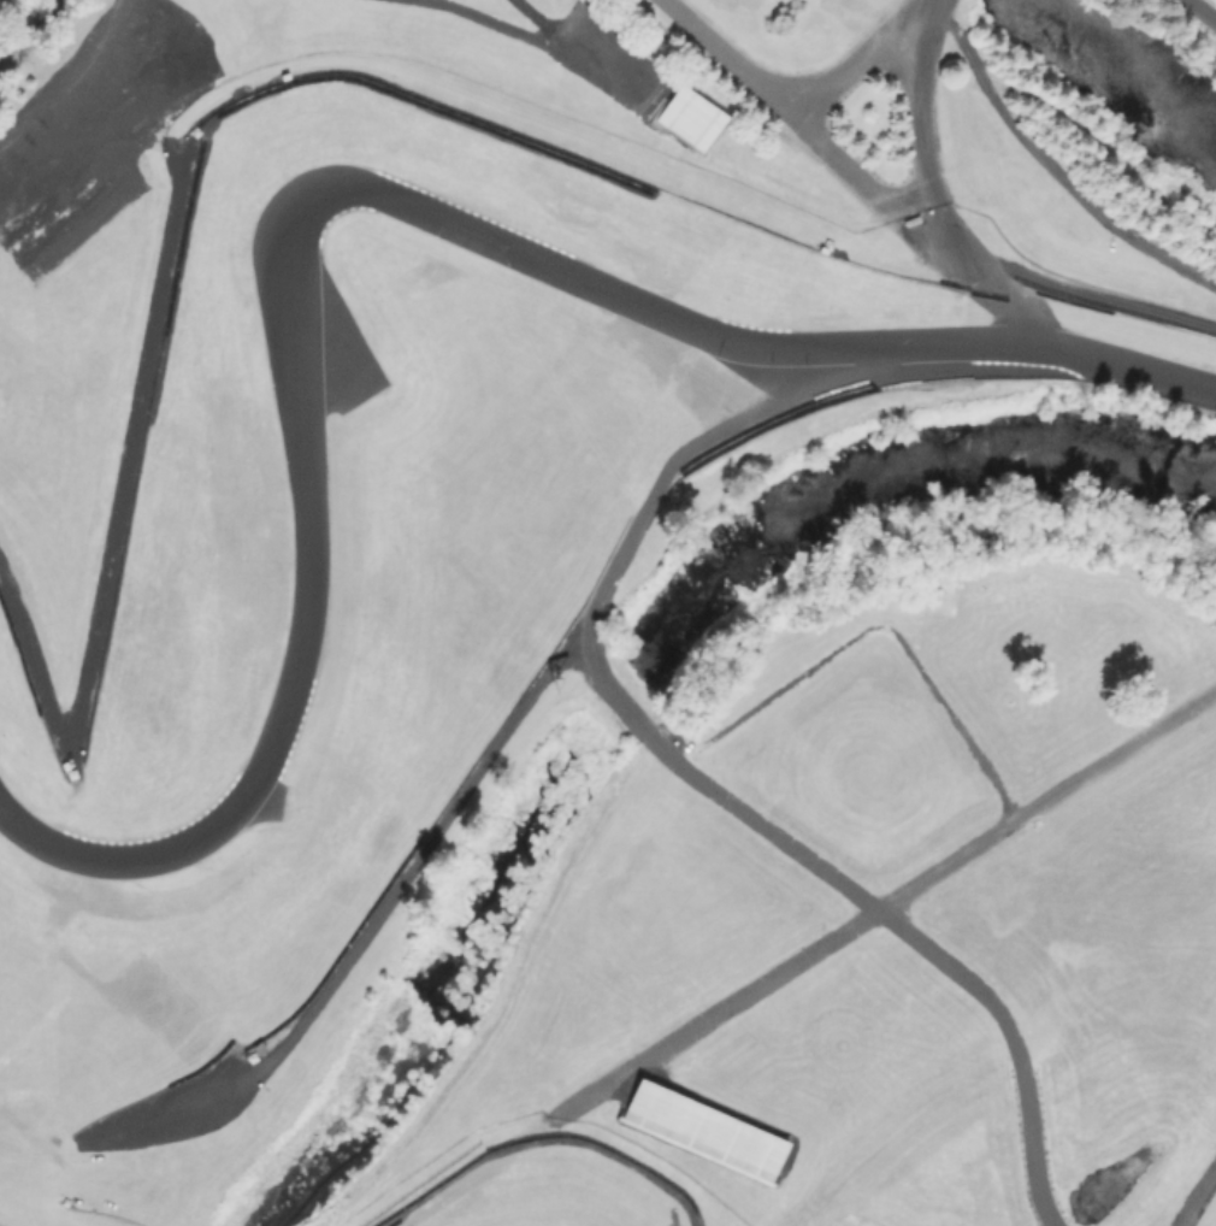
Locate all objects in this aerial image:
road: (1200, 11)
park: (1199, 12)
road: (29, 29)
road: (728, 58)
road: (855, 58)
building: (690, 116)
road: (922, 130)
road: (1050, 169)
raceway: (348, 195)
road: (926, 235)
stadium: (607, 613)
road: (873, 626)
road: (684, 768)
road: (885, 900)
building: (674, 1118)

